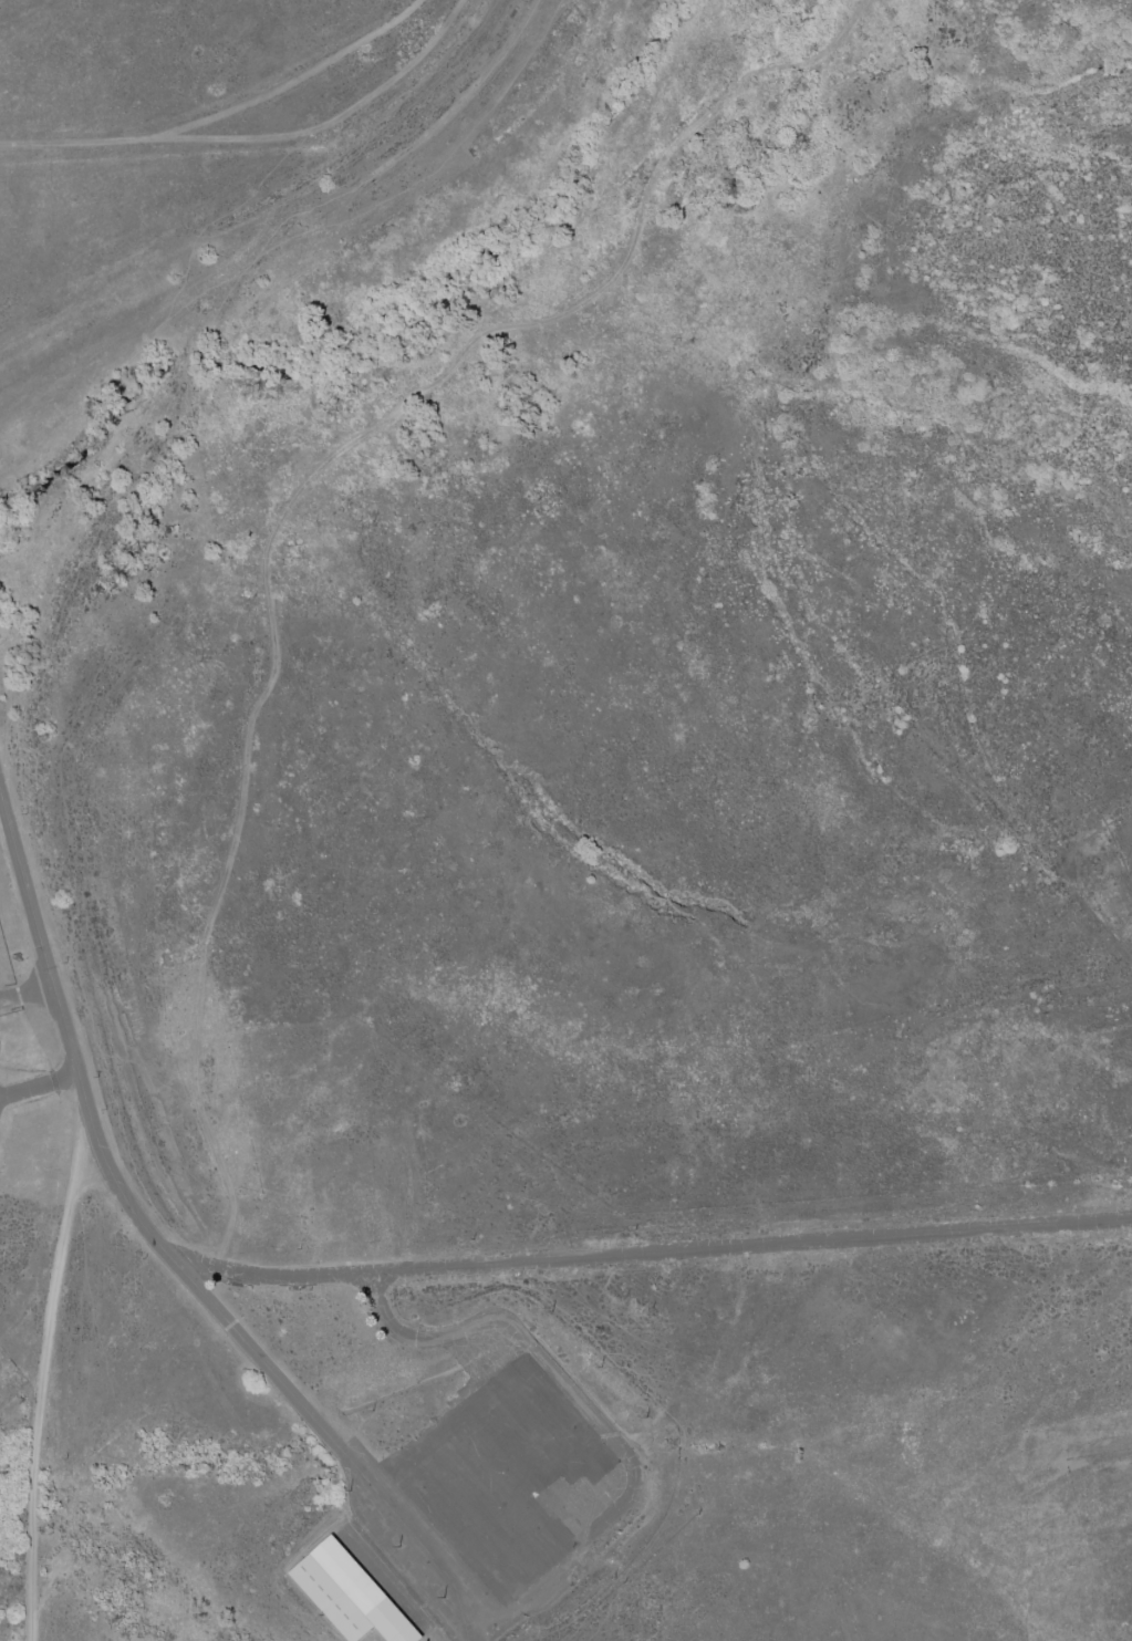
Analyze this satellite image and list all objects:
road: (28, 995)
road: (40, 1087)
road: (165, 1250)
road: (641, 1255)
road: (575, 1426)
building: (347, 1595)

